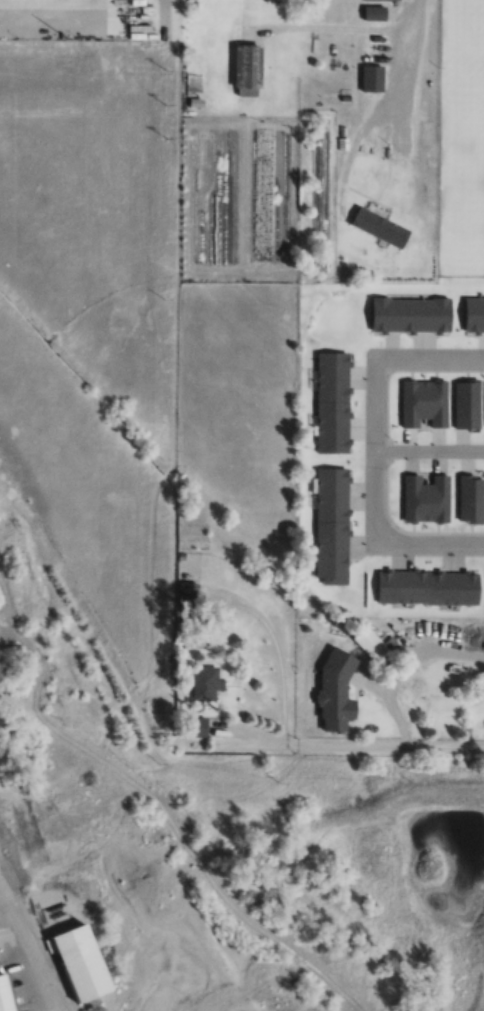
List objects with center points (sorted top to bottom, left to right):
building: (382, 0)
building: (374, 12)
road: (404, 57)
building: (247, 68)
building: (371, 77)
park: (462, 138)
building: (385, 435)
road: (374, 450)
road: (429, 451)
building: (188, 593)
building: (344, 657)
building: (205, 685)
road: (347, 746)
road: (28, 953)
building: (77, 963)
building: (5, 994)
building: (18, 1007)

